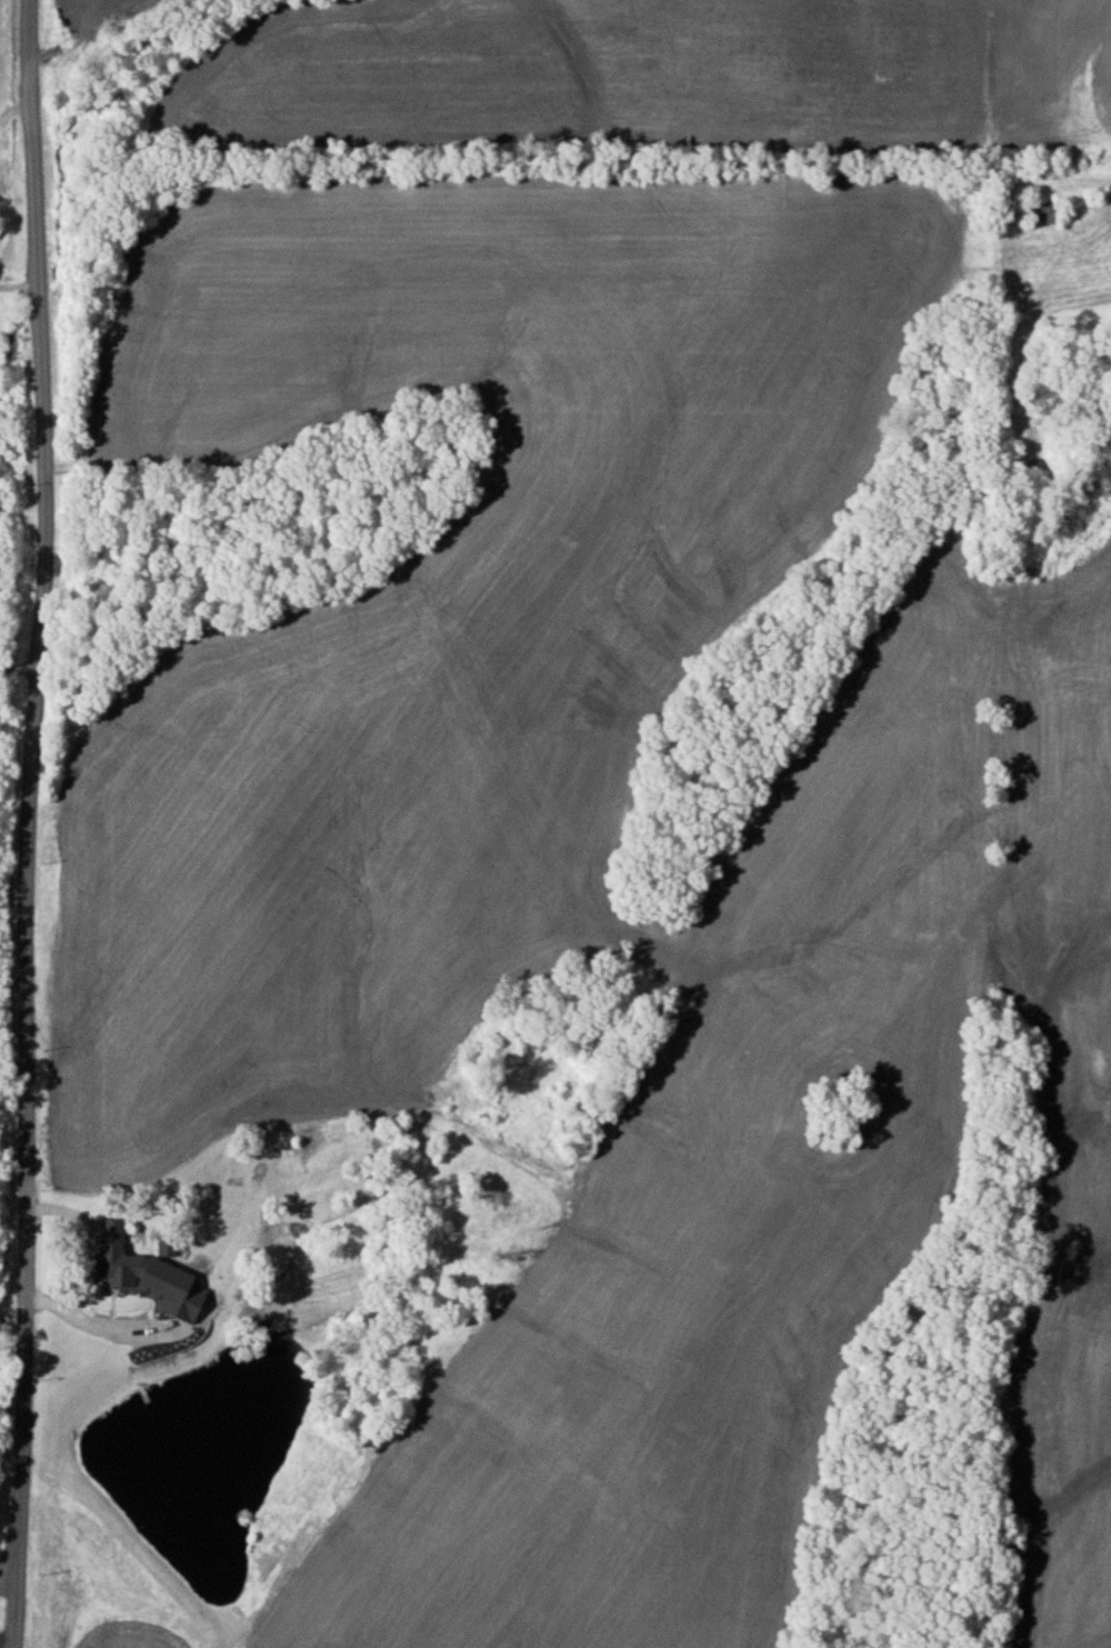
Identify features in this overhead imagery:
road: (17, 103)
road: (22, 271)
road: (21, 666)
road: (36, 786)
road: (88, 1260)
building: (146, 1274)
road: (11, 1579)
road: (22, 1610)

